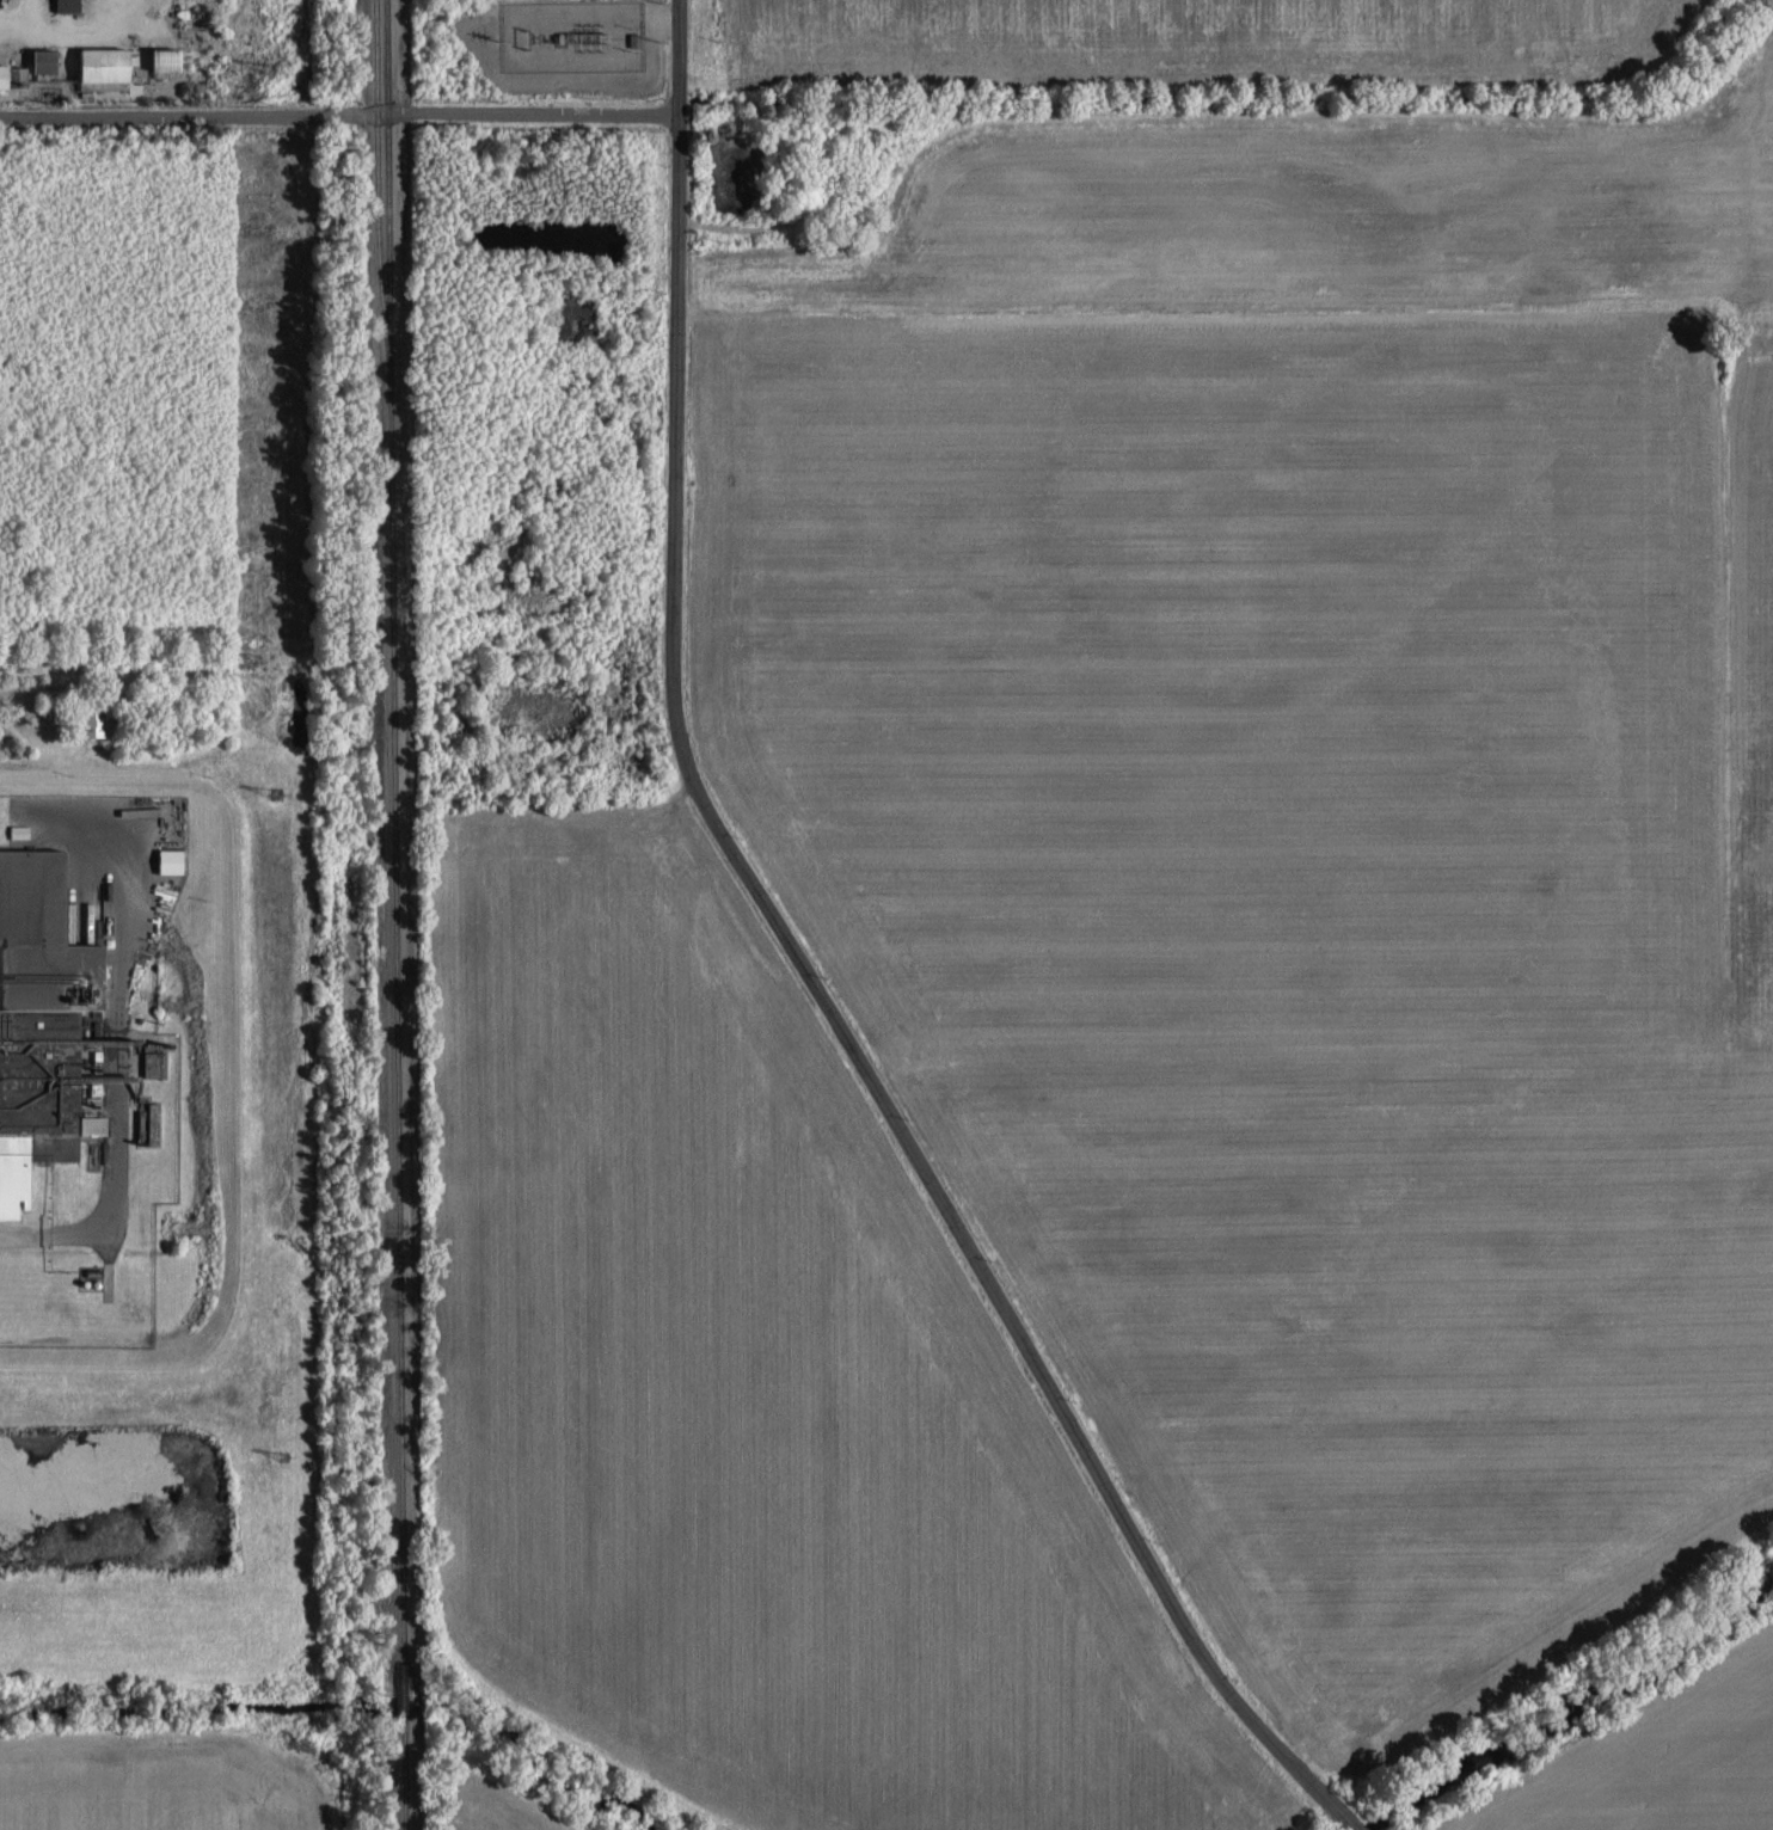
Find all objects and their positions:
building: (72, 4)
road: (679, 55)
building: (171, 59)
building: (31, 66)
building: (114, 66)
road: (339, 117)
building: (568, 319)
building: (22, 829)
building: (173, 858)
railway: (395, 915)
road: (841, 1026)
building: (155, 1061)
building: (99, 1122)

